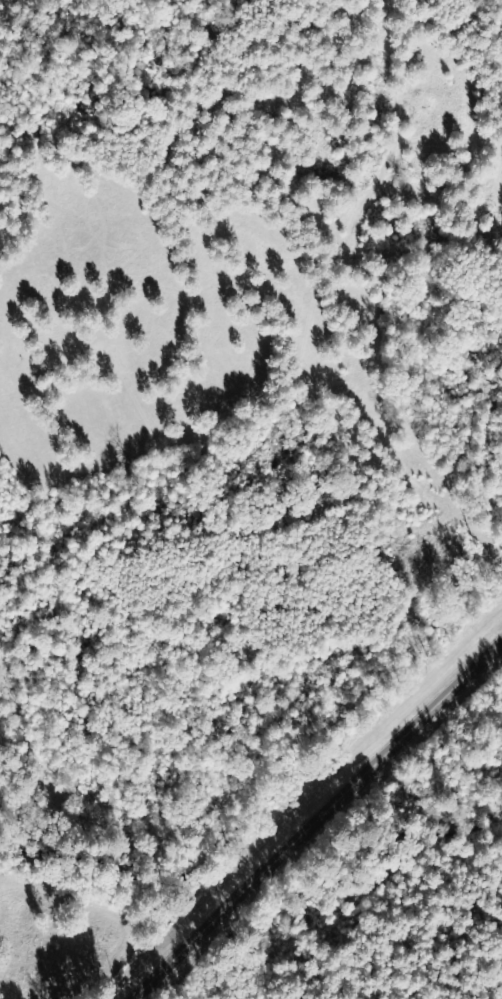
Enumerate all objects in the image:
road: (317, 820)

